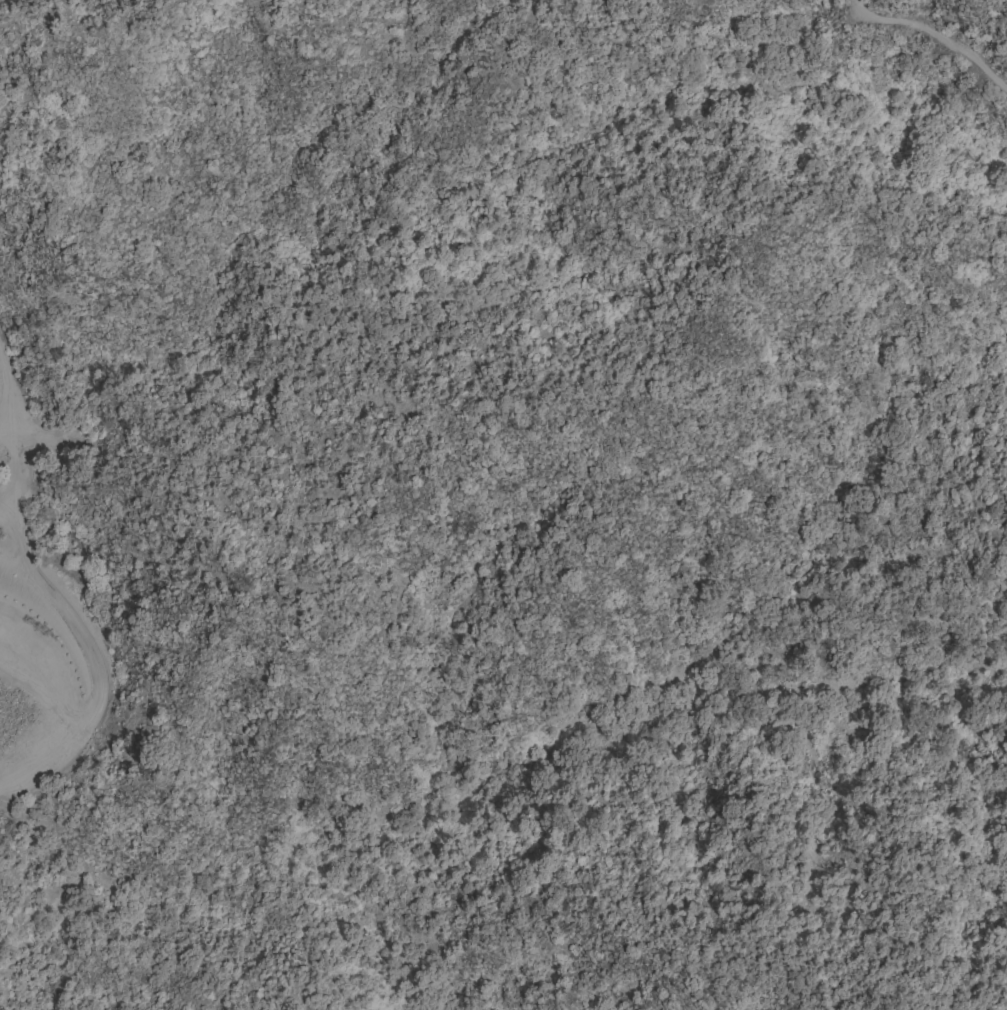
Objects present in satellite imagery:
road: (937, 26)

